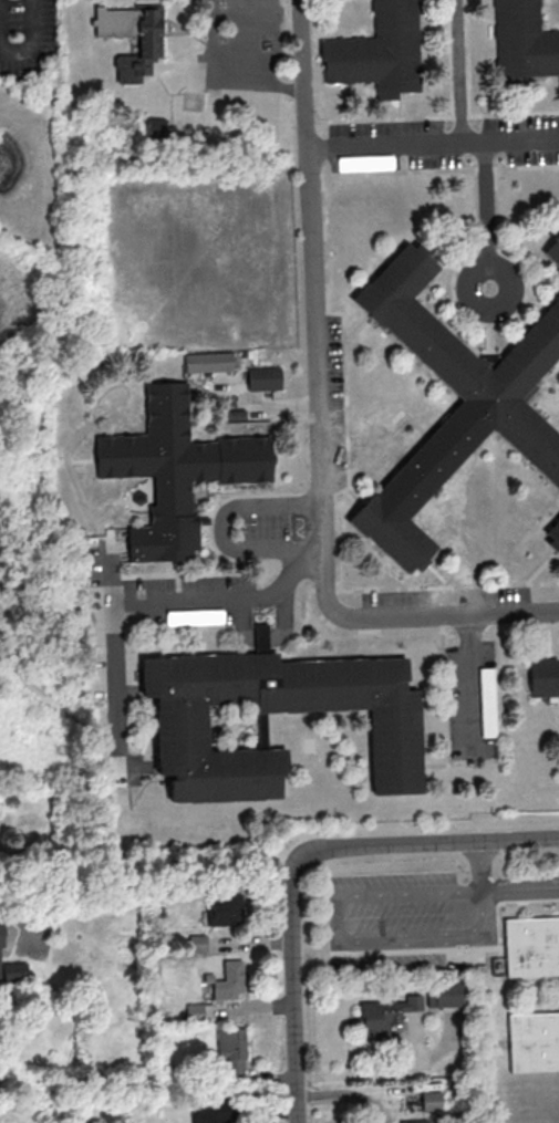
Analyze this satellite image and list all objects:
building: (519, 39)
building: (148, 44)
building: (383, 49)
road: (17, 50)
road: (457, 71)
road: (226, 74)
building: (154, 126)
road: (433, 144)
building: (364, 162)
road: (486, 215)
building: (552, 250)
building: (203, 361)
building: (262, 377)
building: (490, 414)
road: (320, 417)
road: (68, 449)
road: (80, 458)
building: (172, 469)
road: (271, 526)
building: (553, 534)
road: (106, 572)
road: (136, 603)
building: (194, 616)
building: (259, 636)
building: (544, 676)
road: (469, 686)
building: (487, 701)
building: (210, 728)
road: (96, 835)
road: (414, 842)
building: (224, 908)
parking lot: (389, 919)
road: (22, 929)
building: (1, 933)
parking lot: (32, 937)
road: (350, 939)
building: (196, 943)
road: (504, 948)
building: (532, 948)
road: (465, 949)
building: (12, 971)
building: (228, 980)
building: (444, 992)
road: (294, 1002)
building: (385, 1013)
building: (534, 1042)
road: (505, 1044)
building: (231, 1049)
building: (429, 1100)
building: (214, 1113)
building: (413, 1121)

